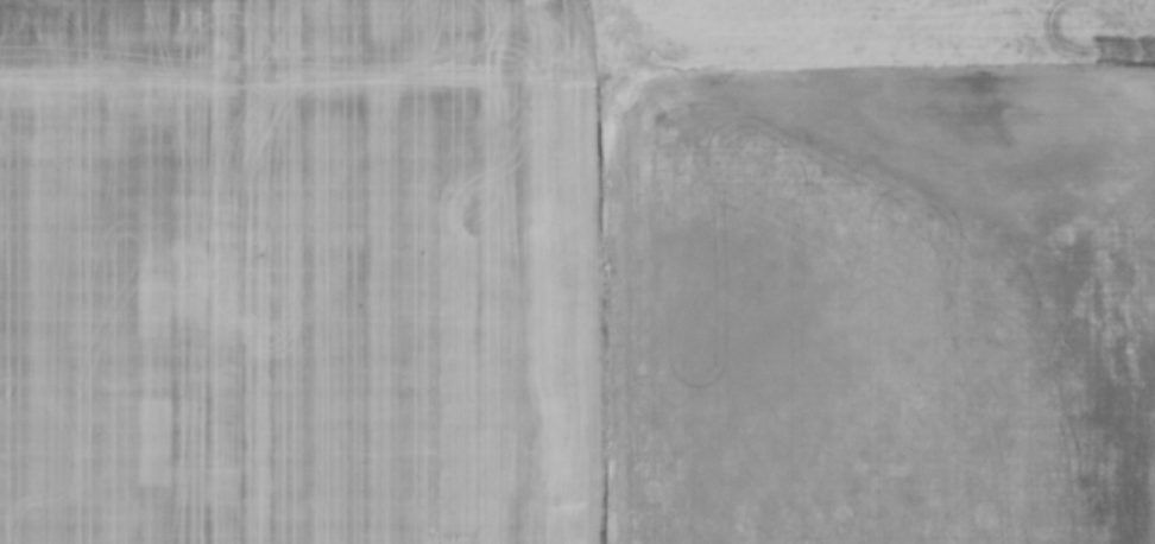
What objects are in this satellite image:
road: (583, 271)

